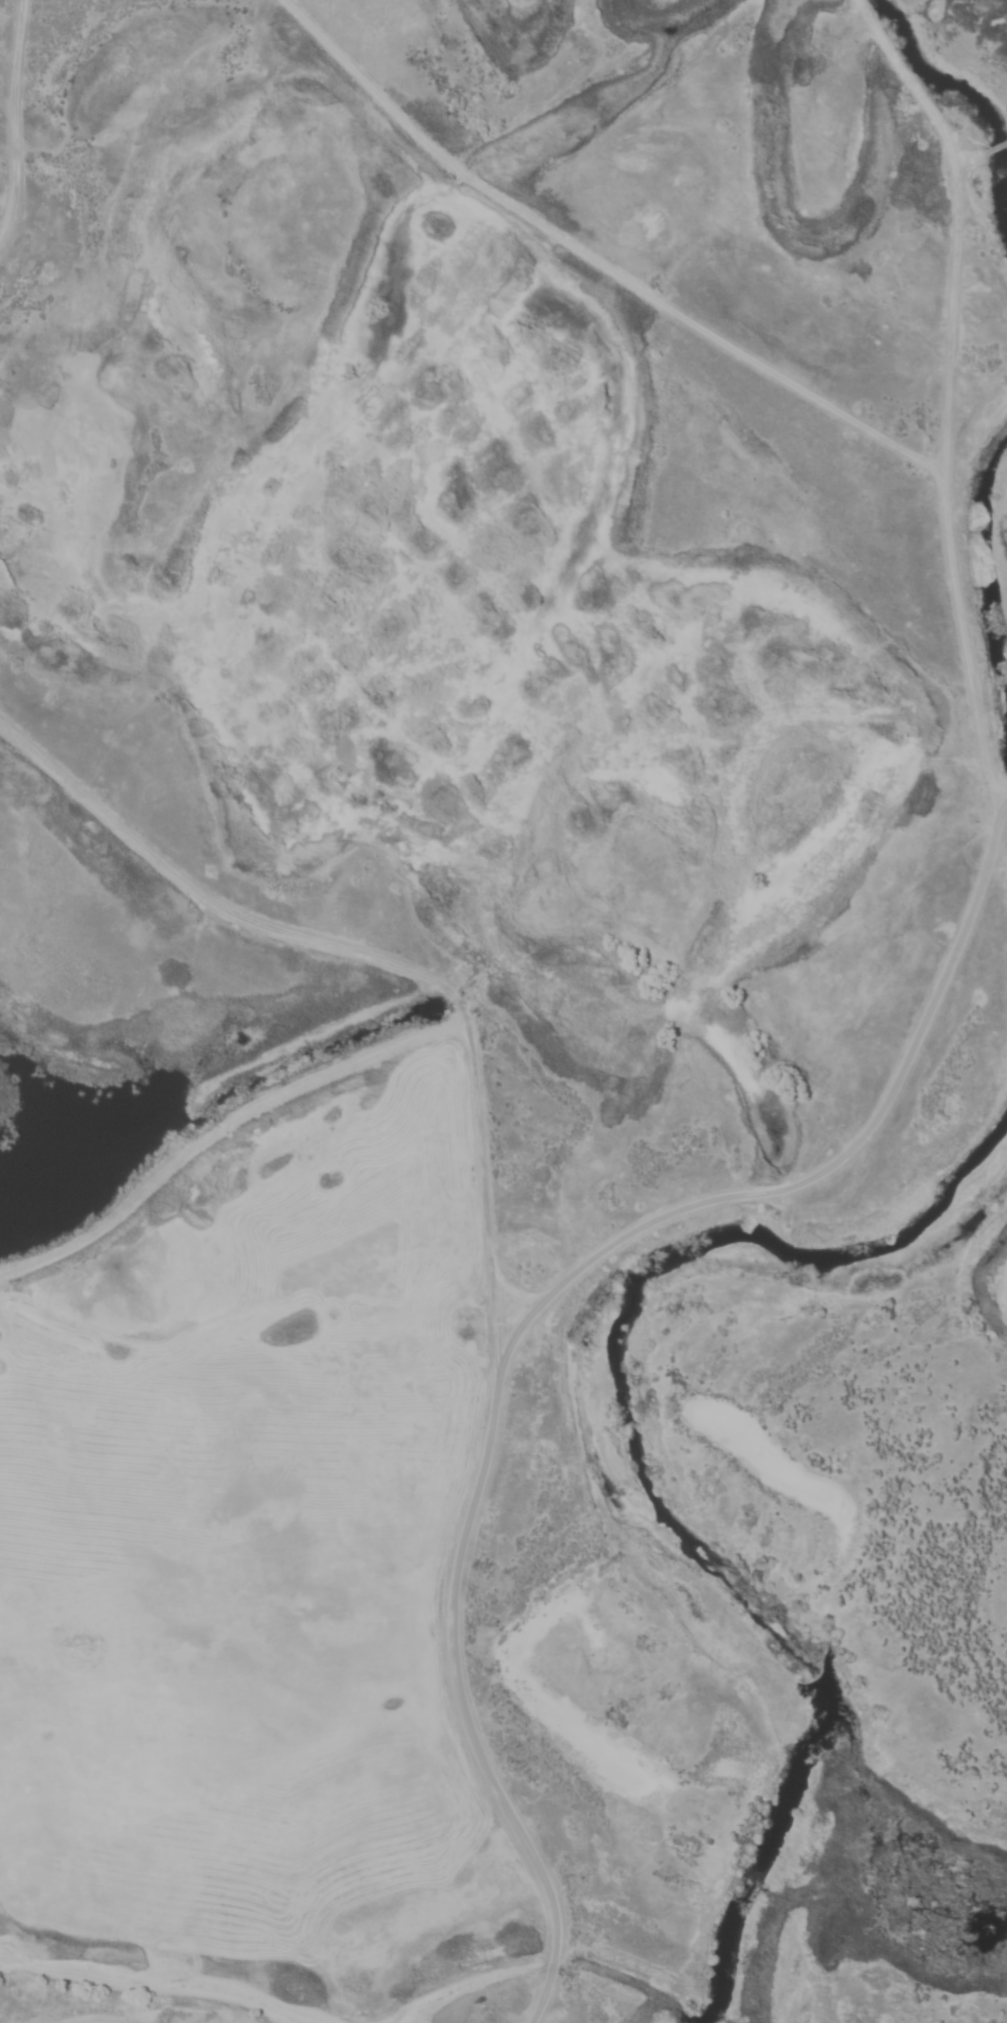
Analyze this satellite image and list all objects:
road: (11, 79)
road: (1004, 141)
road: (992, 147)
road: (590, 264)
road: (930, 474)
road: (1003, 801)
road: (376, 962)
road: (525, 1314)

